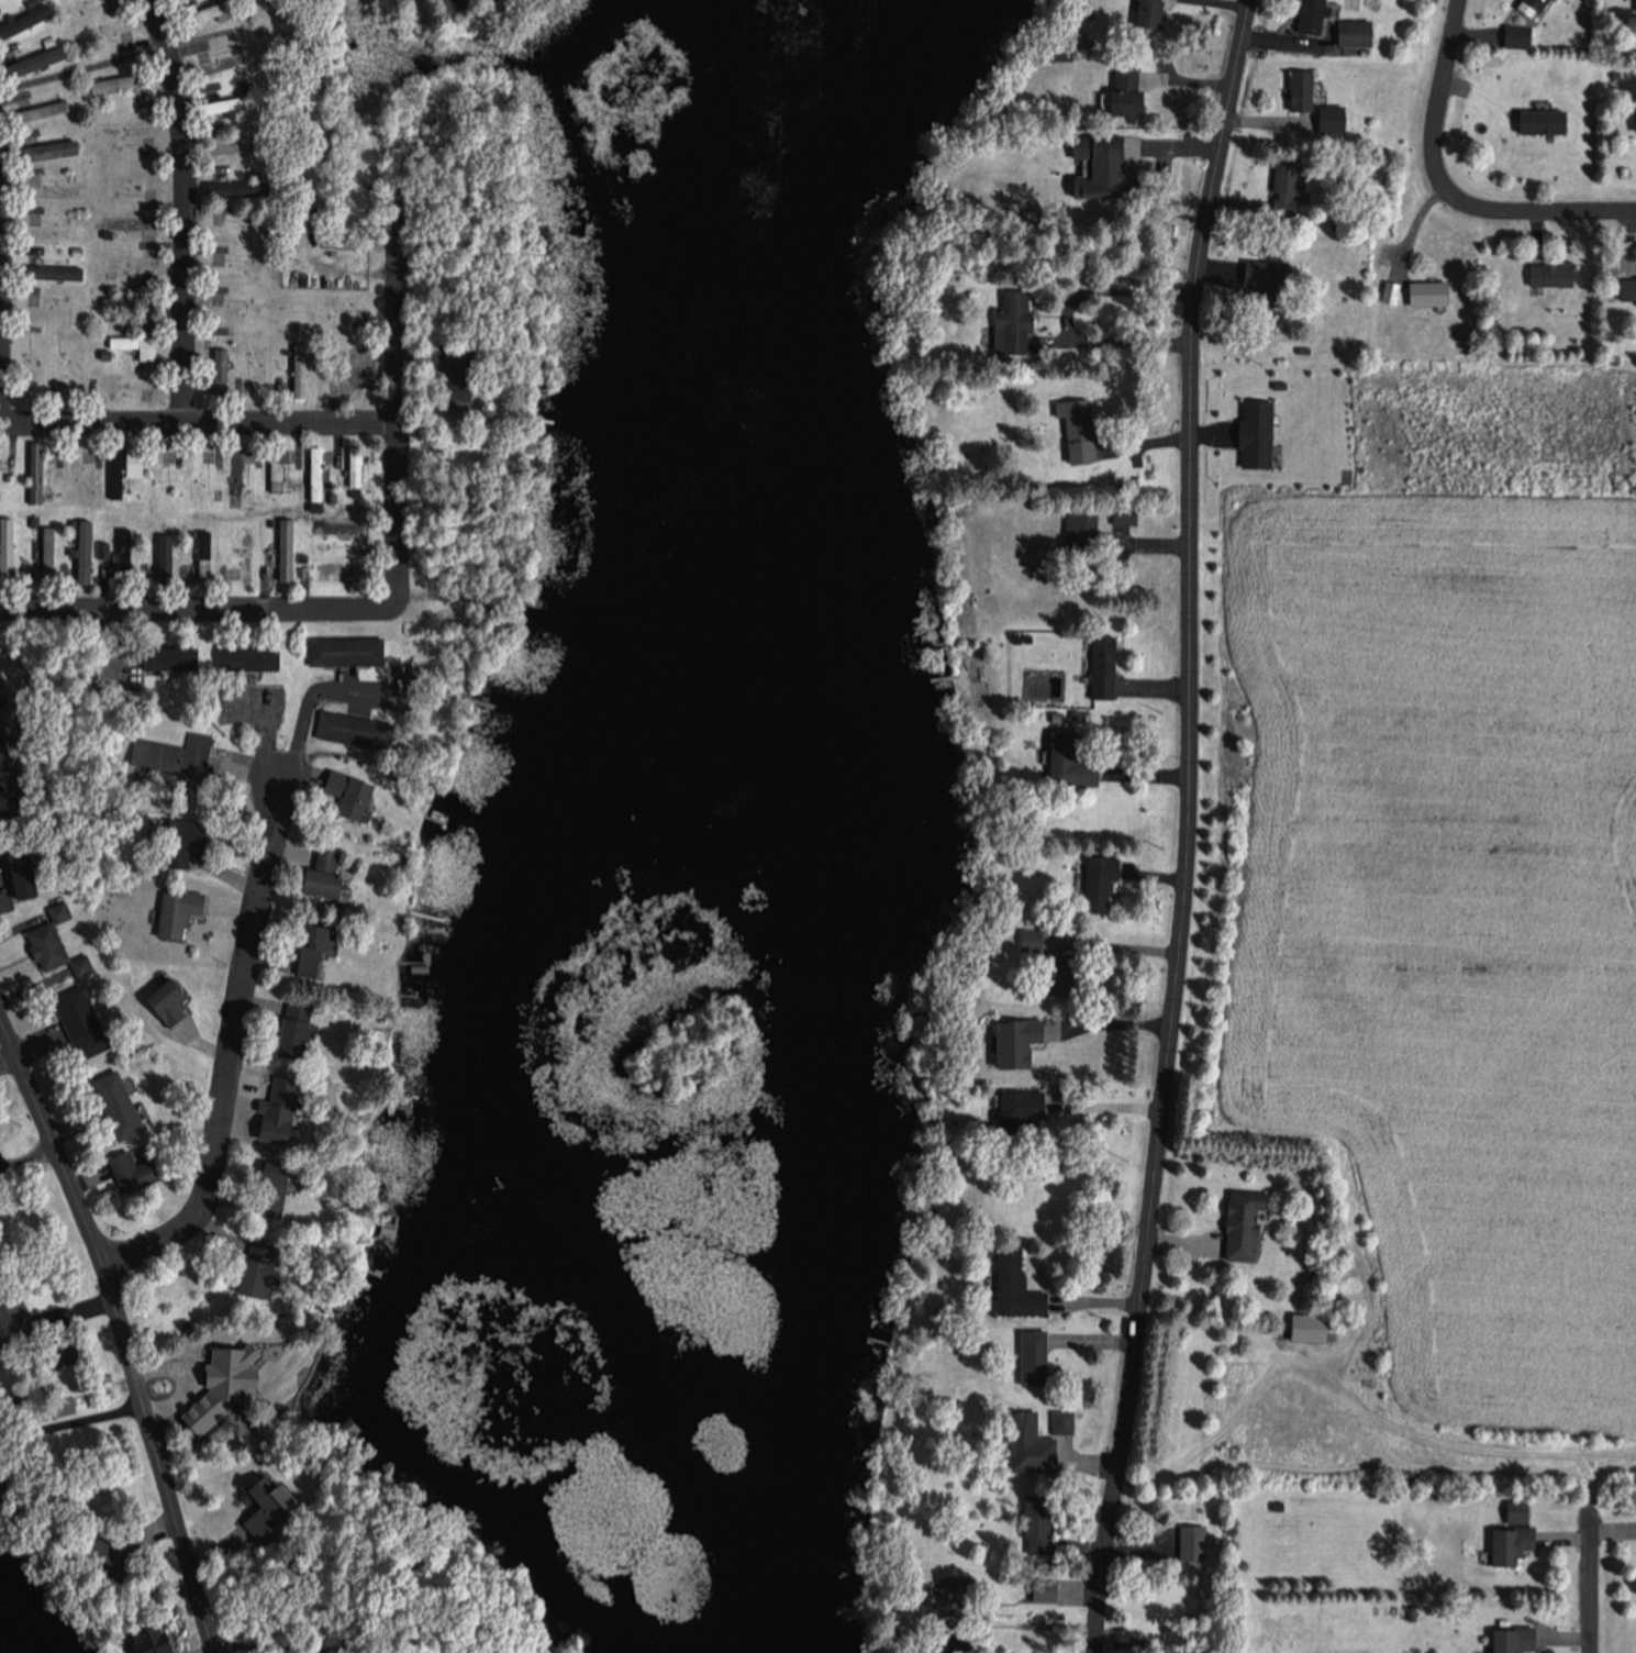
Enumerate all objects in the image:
building: (1528, 7)
building: (1634, 7)
building: (1146, 13)
building: (1309, 16)
building: (27, 21)
building: (114, 27)
building: (1514, 35)
building: (43, 59)
building: (225, 64)
building: (124, 81)
building: (1296, 89)
building: (1122, 90)
building: (229, 104)
building: (47, 109)
building: (1328, 118)
building: (1633, 119)
building: (1537, 120)
building: (233, 146)
building: (62, 147)
building: (1095, 168)
building: (136, 180)
road: (1449, 186)
building: (1286, 190)
road: (179, 204)
building: (134, 222)
building: (235, 269)
building: (1260, 273)
building: (1549, 275)
building: (1626, 288)
building: (1387, 292)
building: (1424, 292)
road: (399, 297)
building: (236, 309)
building: (1009, 321)
building: (134, 342)
building: (38, 366)
building: (224, 369)
building: (304, 369)
building: (261, 371)
building: (468, 386)
road: (198, 420)
building: (1075, 430)
building: (1253, 433)
building: (358, 466)
building: (127, 467)
building: (279, 469)
building: (40, 472)
building: (319, 473)
building: (238, 474)
building: (79, 476)
road: (444, 478)
road: (401, 512)
building: (1121, 513)
building: (342, 525)
building: (1078, 526)
building: (127, 542)
building: (9, 548)
building: (89, 550)
building: (248, 554)
building: (51, 555)
building: (336, 565)
road: (200, 603)
building: (177, 657)
building: (257, 657)
building: (1101, 667)
building: (202, 744)
road: (268, 754)
building: (1066, 762)
building: (356, 788)
road: (1189, 825)
building: (33, 870)
building: (332, 875)
building: (1095, 885)
crop: (1440, 894)
building: (183, 911)
building: (1028, 941)
building: (59, 943)
building: (321, 951)
building: (177, 1000)
building: (84, 1016)
building: (303, 1028)
road: (235, 1033)
building: (1011, 1042)
building: (122, 1100)
building: (1016, 1109)
road: (33, 1112)
building: (126, 1164)
road: (33, 1168)
building: (1239, 1223)
building: (1013, 1287)
building: (1304, 1331)
building: (1032, 1357)
road: (143, 1406)
building: (1024, 1443)
building: (1515, 1511)
building: (1035, 1523)
building: (1190, 1544)
building: (1505, 1544)
road: (1590, 1579)
road: (1031, 1595)
road: (340, 1622)
building: (1509, 1640)
road: (223, 1645)

